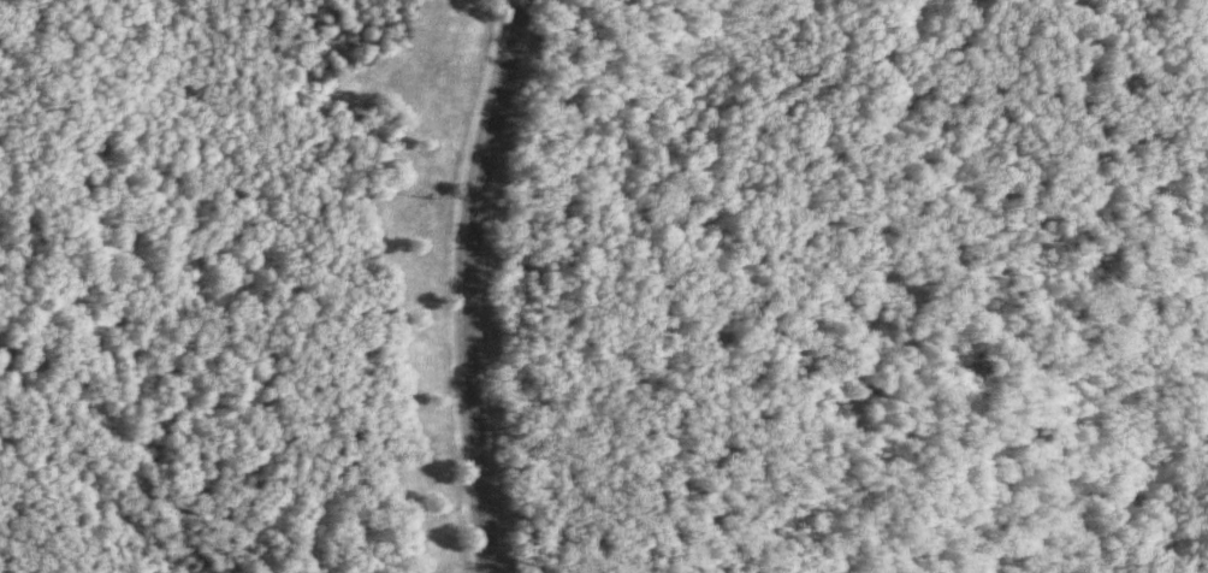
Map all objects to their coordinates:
road: (475, 283)

